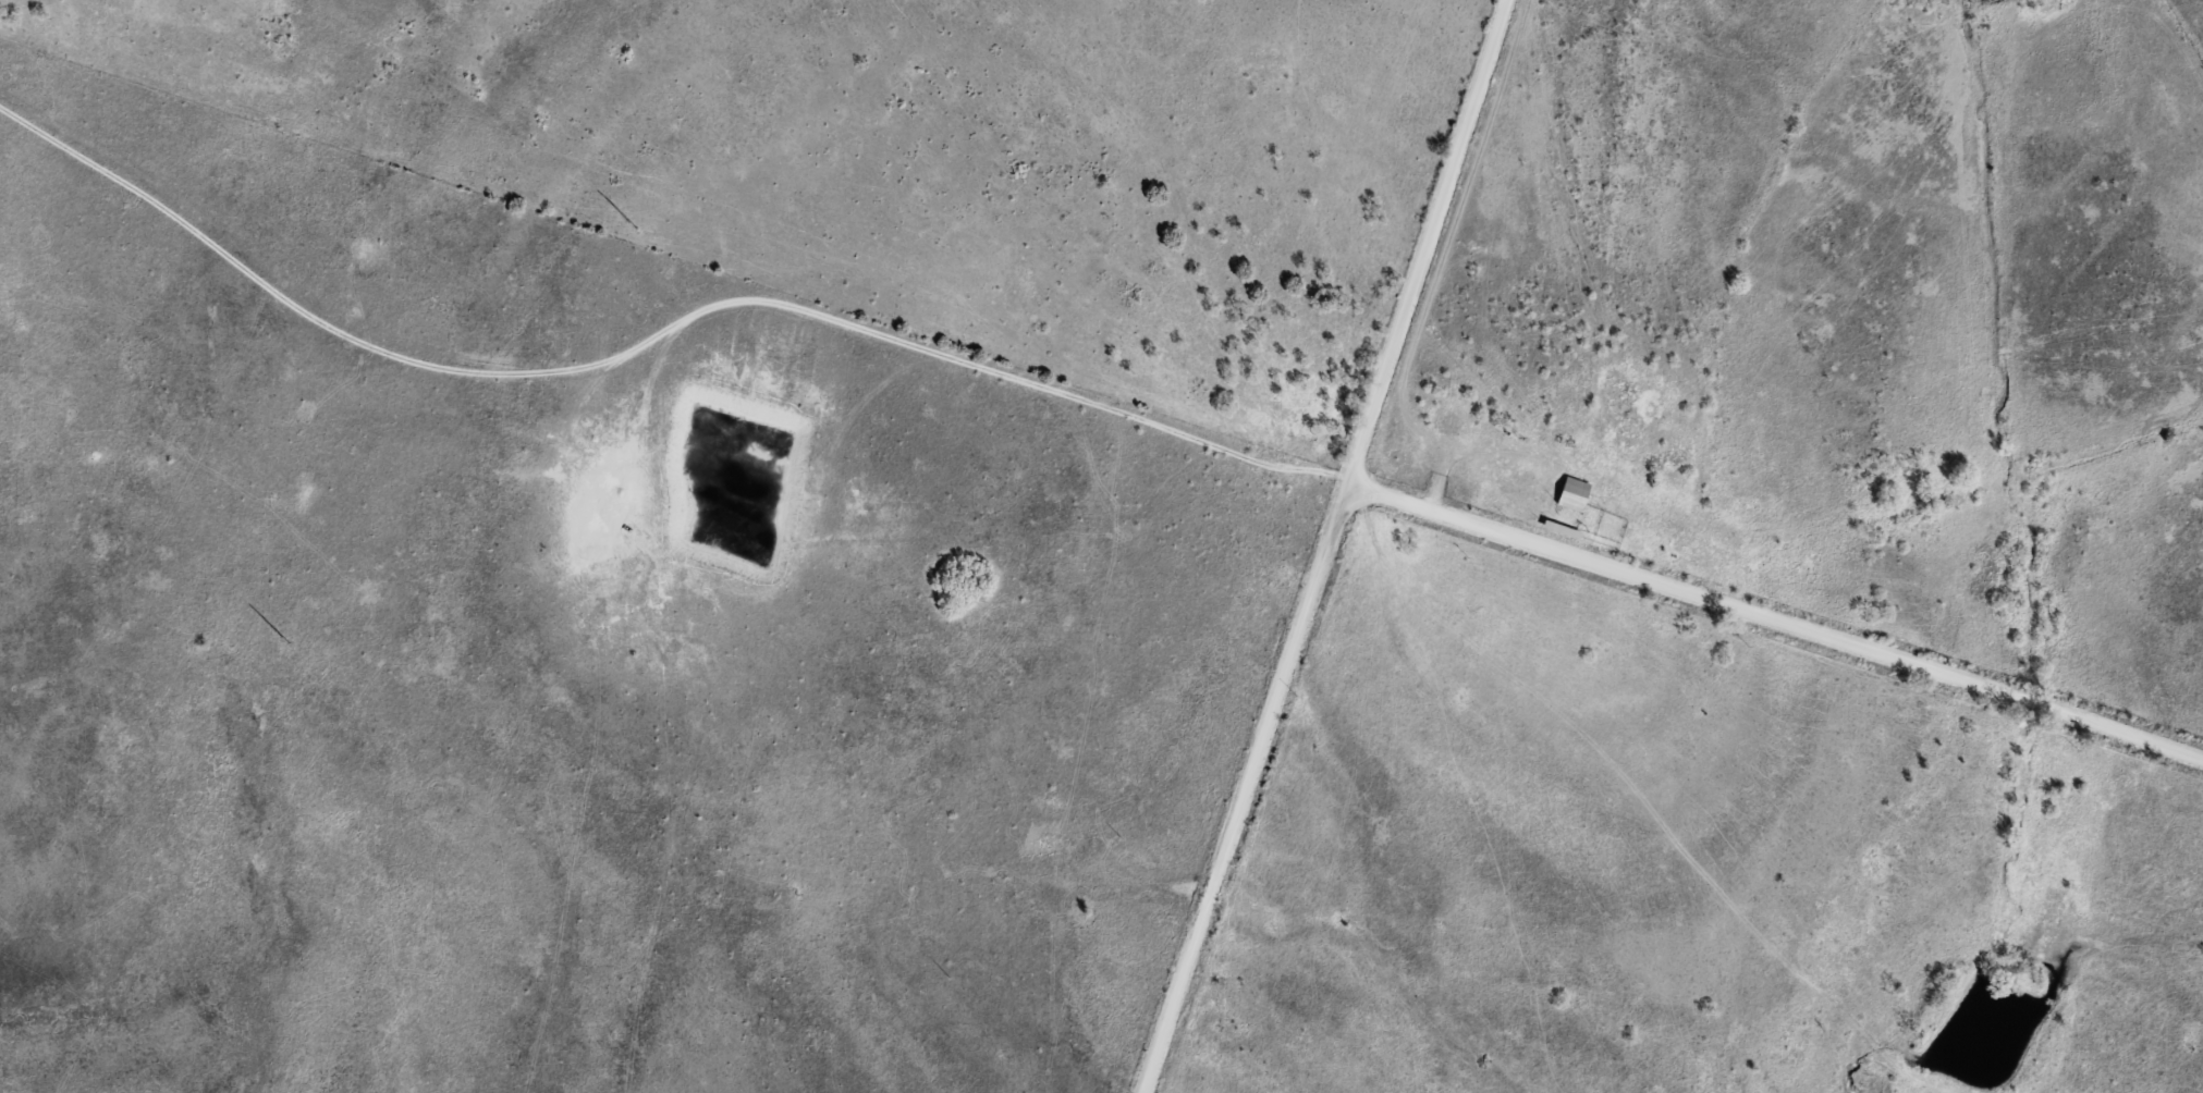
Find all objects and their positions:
power tower: (633, 224)
building: (1575, 496)
road: (1321, 546)
road: (1773, 624)
power tower: (285, 638)

